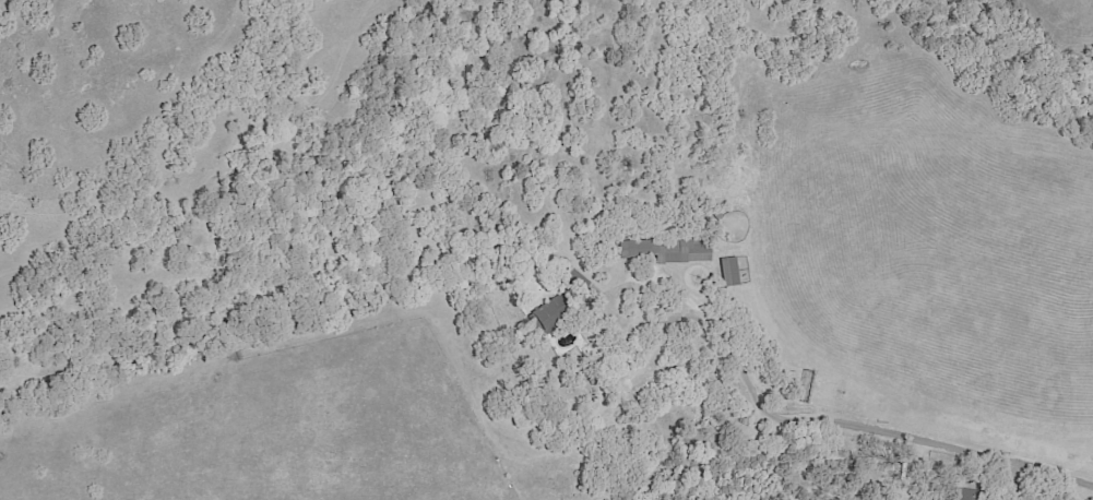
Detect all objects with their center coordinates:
building: (669, 250)
building: (728, 272)
building: (568, 281)
building: (543, 311)
road: (862, 426)
building: (967, 495)

